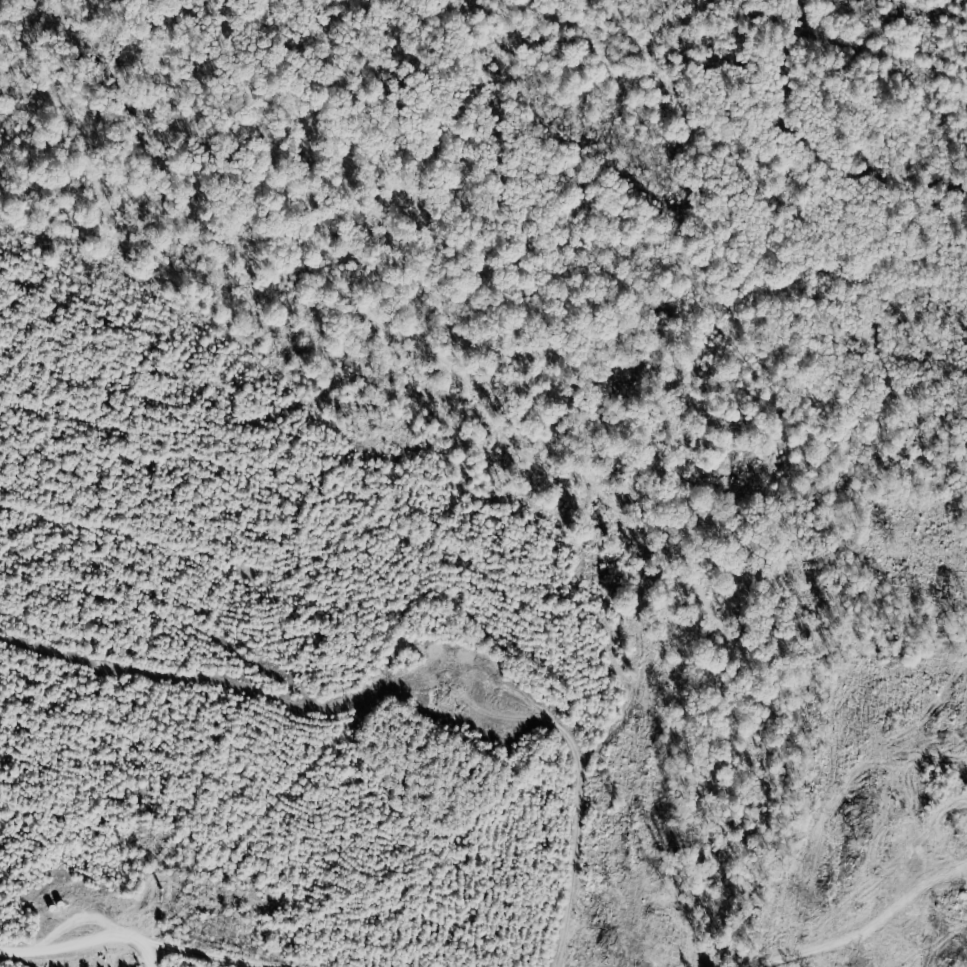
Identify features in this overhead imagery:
road: (133, 938)
road: (806, 947)

